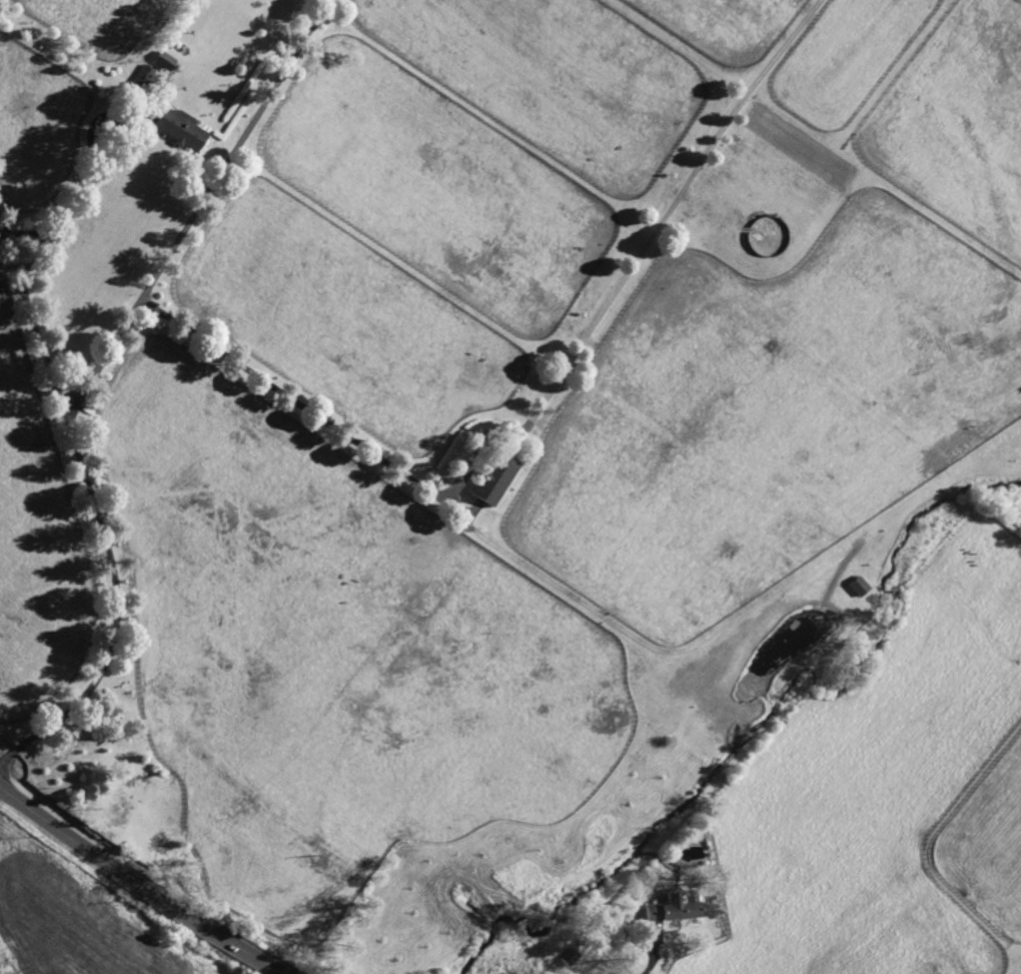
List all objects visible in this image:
building: (177, 46)
building: (163, 59)
building: (146, 78)
building: (178, 126)
road: (226, 157)
road: (69, 194)
road: (33, 324)
road: (99, 370)
road: (532, 418)
building: (493, 478)
building: (858, 584)
road: (116, 615)
road: (138, 884)
building: (717, 897)
building: (672, 906)
building: (568, 955)
road: (653, 958)

